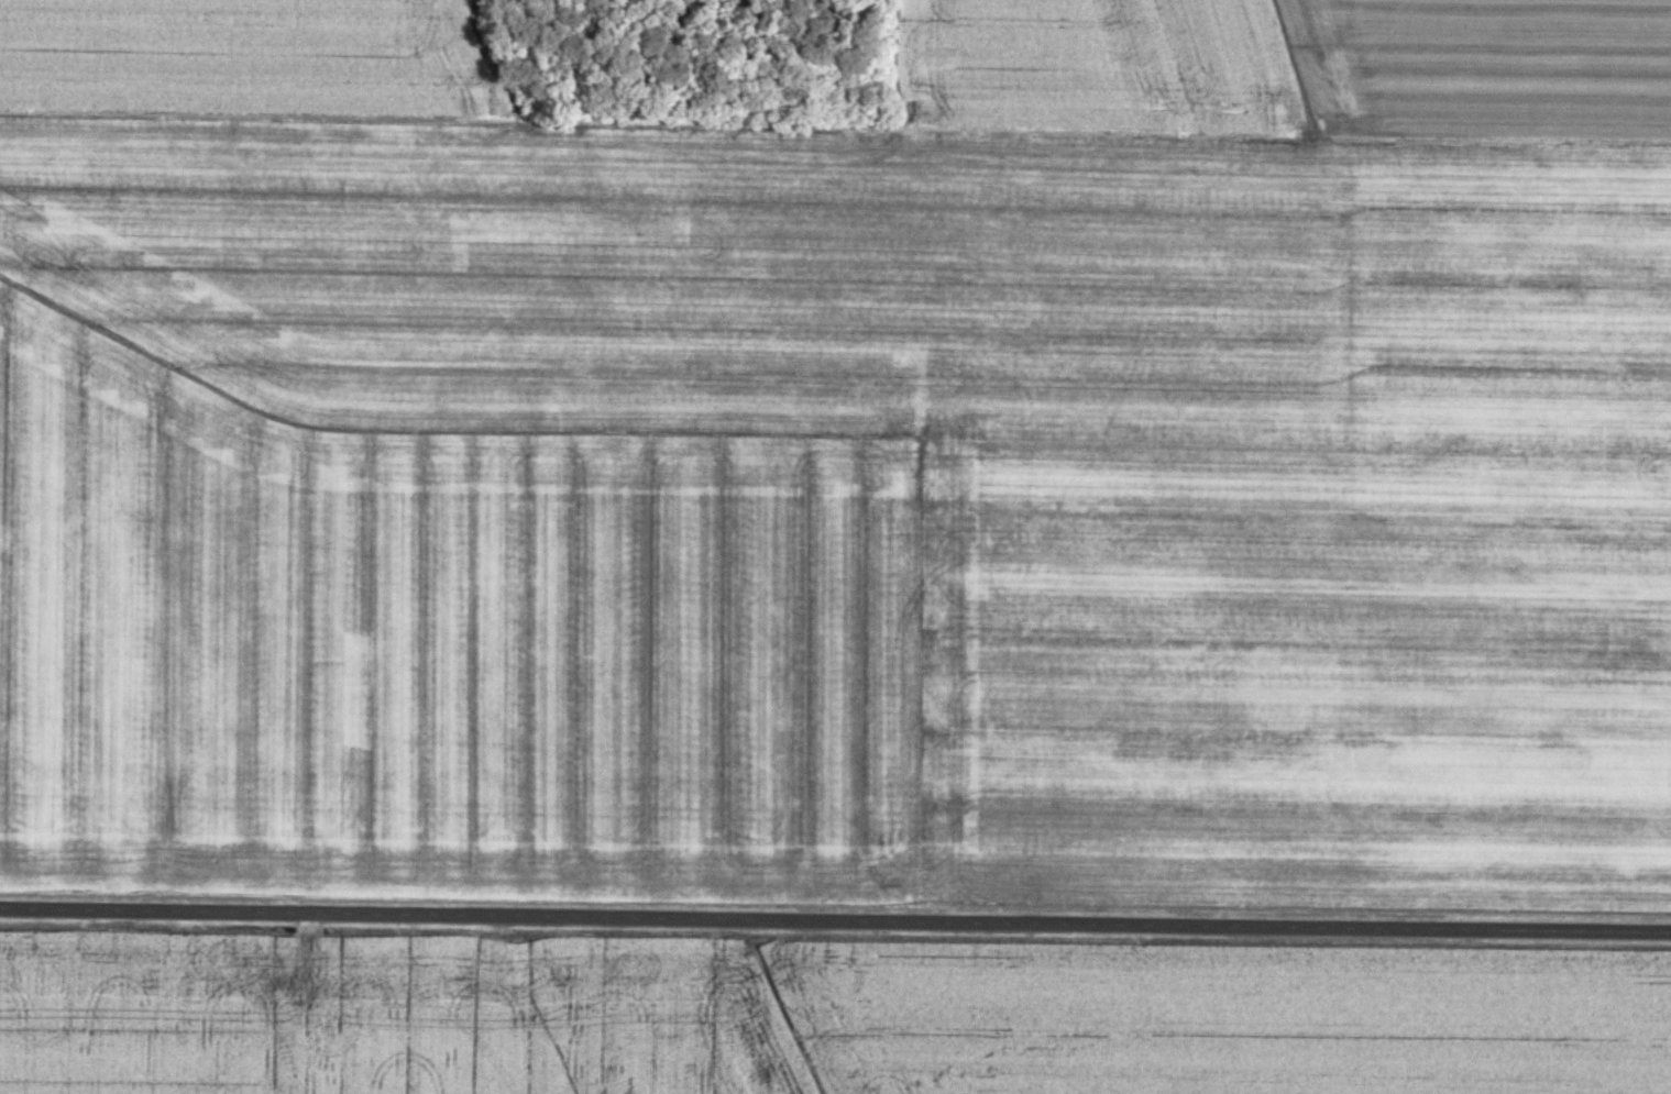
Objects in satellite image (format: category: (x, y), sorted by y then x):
road: (835, 918)

